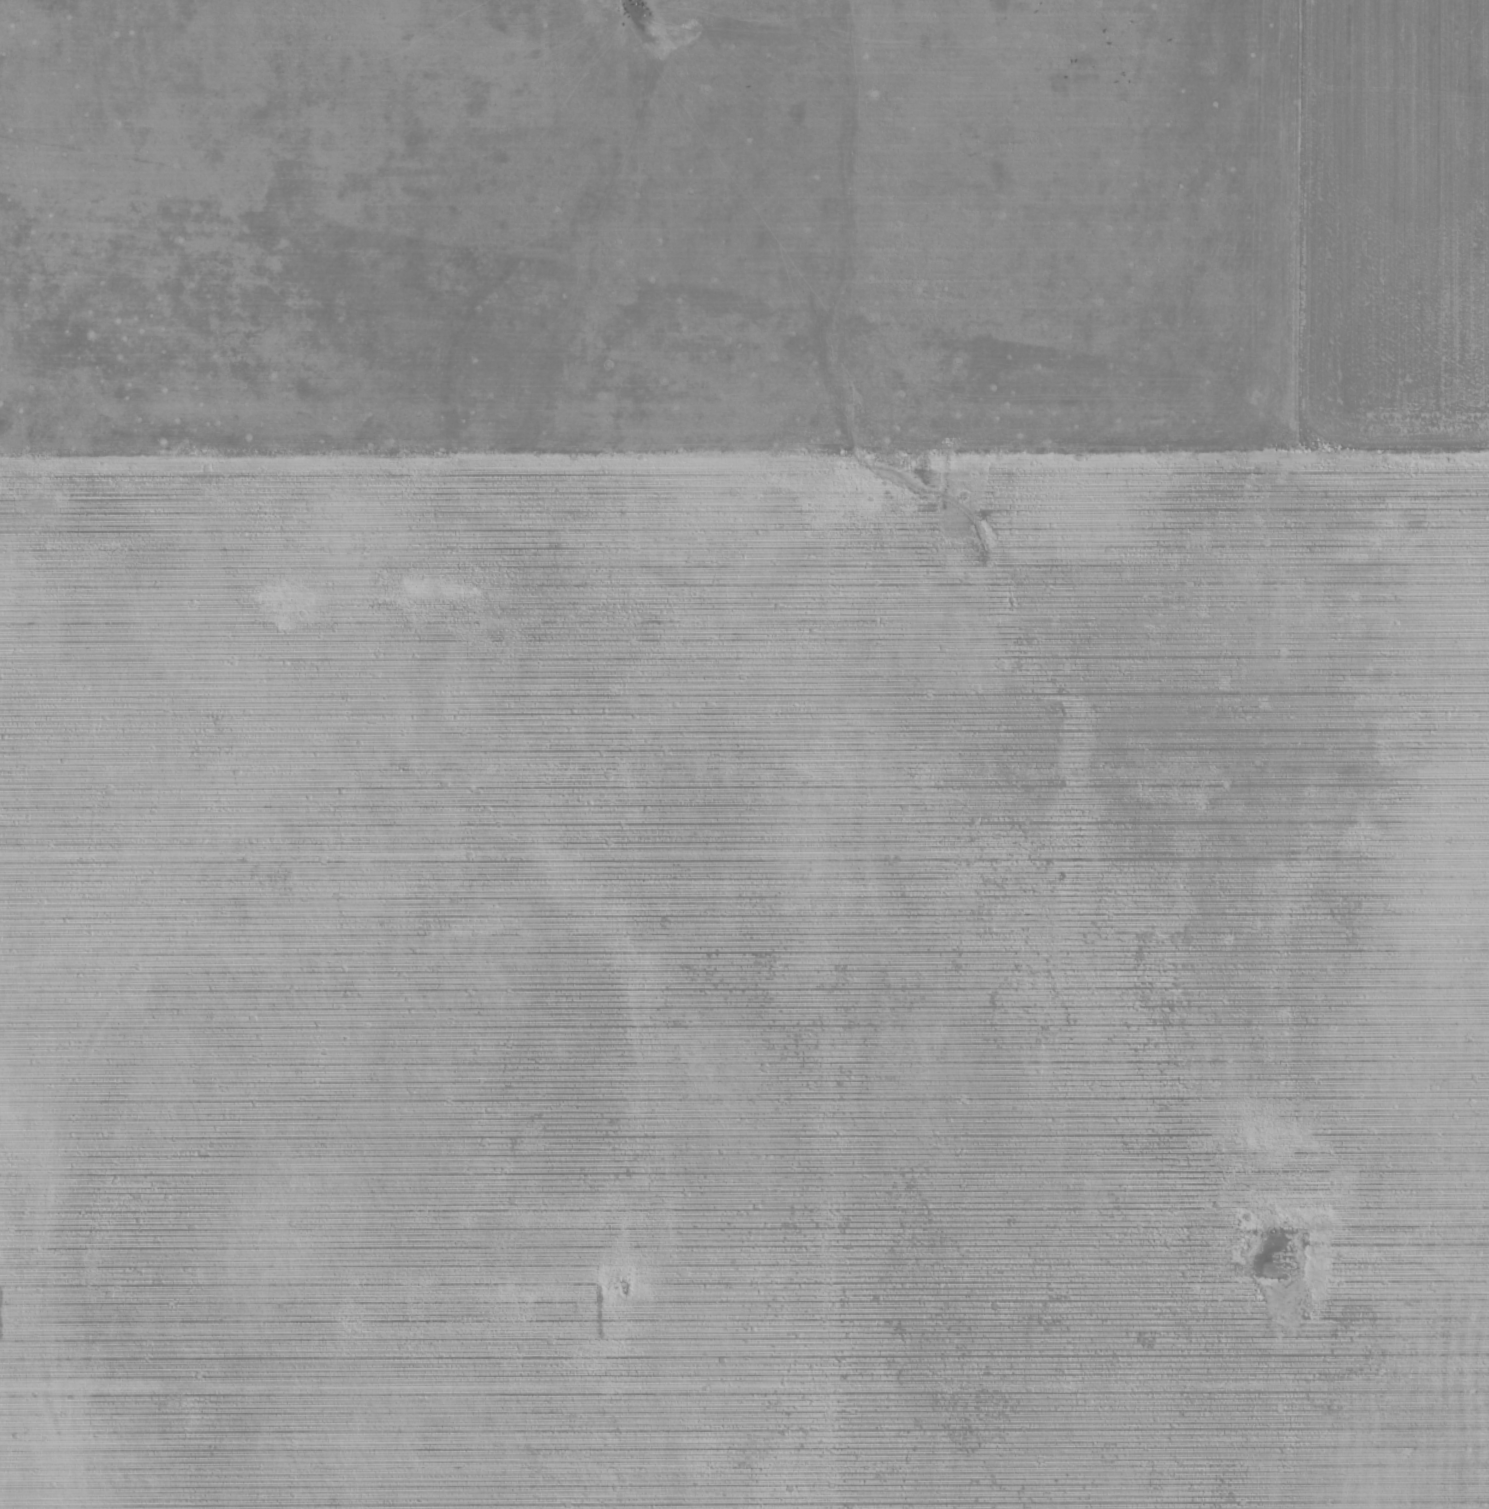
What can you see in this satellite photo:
road: (1290, 328)

